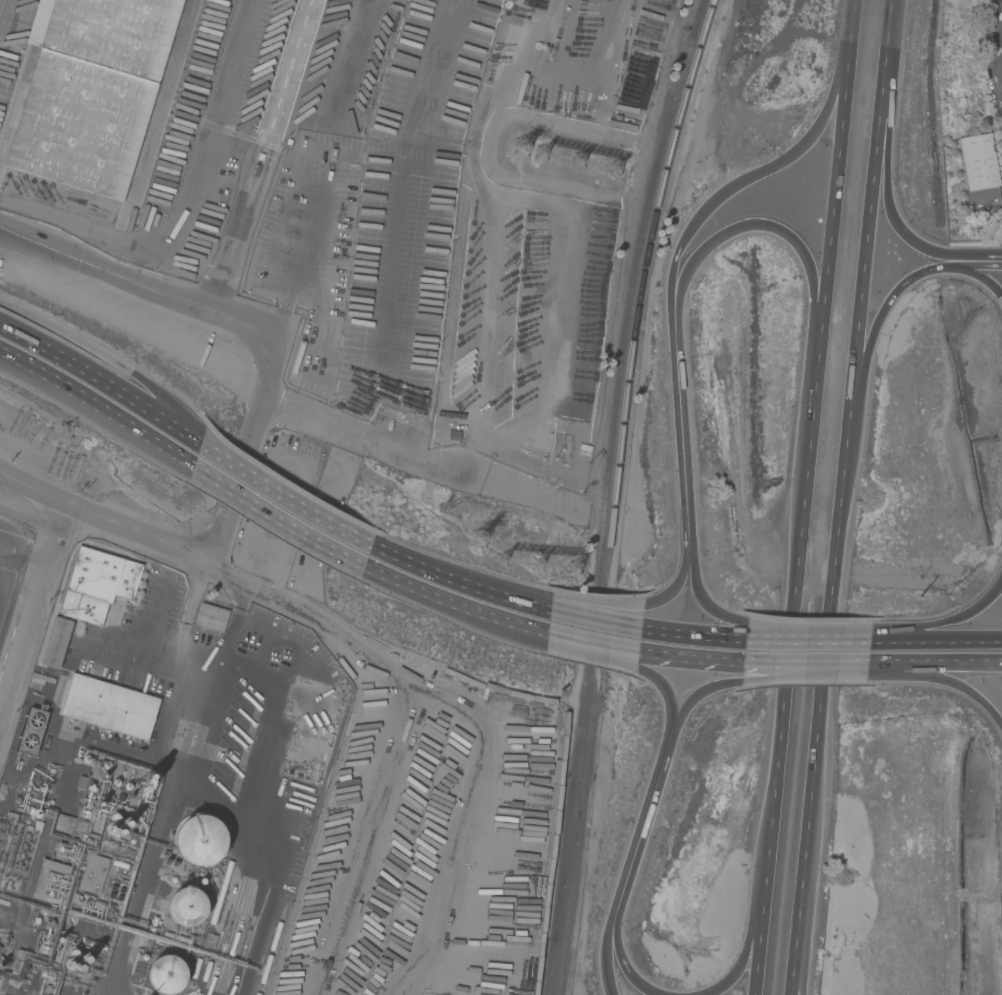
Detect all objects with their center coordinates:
railway: (695, 16)
road: (852, 21)
road: (889, 41)
road: (995, 43)
road: (498, 50)
road: (546, 56)
road: (597, 62)
road: (279, 76)
road: (293, 78)
building: (90, 90)
railway: (175, 104)
road: (622, 135)
power tower: (538, 146)
building: (283, 147)
power tower: (583, 149)
road: (469, 156)
power tower: (602, 160)
building: (257, 162)
building: (976, 164)
power tower: (625, 165)
road: (749, 177)
road: (260, 186)
road: (568, 212)
road: (887, 213)
road: (830, 216)
road: (4, 226)
road: (4, 231)
road: (235, 231)
road: (782, 233)
road: (867, 237)
road: (972, 266)
road: (976, 276)
road: (147, 288)
road: (879, 314)
road: (109, 360)
road: (102, 381)
road: (97, 408)
road: (679, 430)
road: (251, 446)
road: (419, 454)
railway: (605, 485)
railway: (613, 490)
road: (283, 496)
power tower: (446, 500)
road: (29, 517)
road: (105, 521)
road: (275, 521)
power tower: (470, 543)
power tower: (508, 559)
road: (21, 571)
power tower: (543, 574)
road: (458, 579)
road: (675, 582)
building: (97, 584)
road: (493, 585)
road: (698, 595)
road: (453, 604)
road: (596, 604)
road: (32, 608)
building: (211, 617)
road: (594, 619)
road: (951, 619)
road: (804, 632)
road: (691, 635)
road: (803, 641)
building: (56, 642)
road: (865, 642)
road: (879, 642)
road: (946, 642)
road: (591, 645)
road: (785, 645)
road: (599, 654)
road: (193, 657)
road: (689, 660)
road: (934, 663)
road: (801, 664)
road: (862, 664)
road: (824, 666)
road: (800, 672)
road: (942, 679)
road: (663, 690)
road: (698, 692)
building: (110, 706)
building: (32, 731)
road: (381, 732)
building: (86, 759)
building: (106, 765)
building: (149, 781)
building: (116, 782)
building: (81, 783)
building: (127, 786)
building: (120, 797)
road: (447, 813)
building: (77, 816)
building: (114, 817)
building: (11, 818)
building: (127, 823)
road: (640, 824)
building: (37, 826)
building: (111, 829)
building: (121, 831)
building: (87, 839)
building: (201, 840)
storage tank: (201, 840)
power substation: (16, 848)
building: (62, 849)
building: (54, 866)
building: (121, 866)
building: (93, 873)
building: (173, 879)
building: (202, 880)
railway: (568, 882)
building: (118, 883)
building: (221, 892)
building: (82, 900)
building: (184, 906)
storage tank: (184, 906)
building: (36, 920)
building: (154, 923)
building: (79, 933)
building: (177, 938)
building: (209, 940)
road: (755, 947)
power plant: (4, 949)
railway: (274, 949)
building: (73, 954)
building: (144, 956)
road: (742, 956)
building: (33, 957)
road: (604, 958)
building: (86, 959)
building: (70, 965)
road: (622, 966)
building: (80, 968)
building: (196, 968)
road: (794, 968)
road: (798, 968)
building: (206, 971)
building: (46, 974)
building: (167, 975)
storage tank: (167, 975)
railway: (550, 986)
railway: (559, 991)
building: (196, 993)

